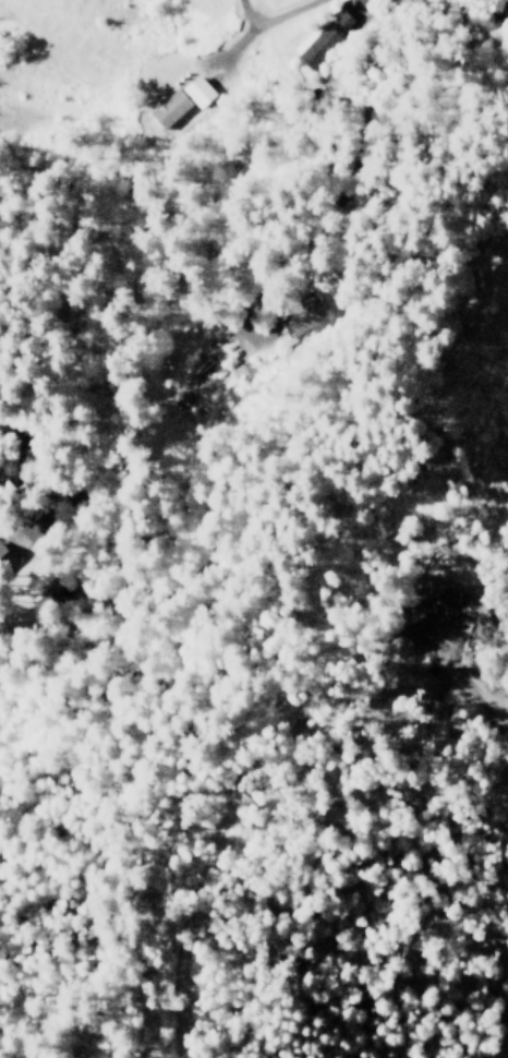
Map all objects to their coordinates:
road: (239, 9)
road: (273, 15)
building: (179, 101)
road: (352, 179)
building: (303, 314)
road: (469, 707)

